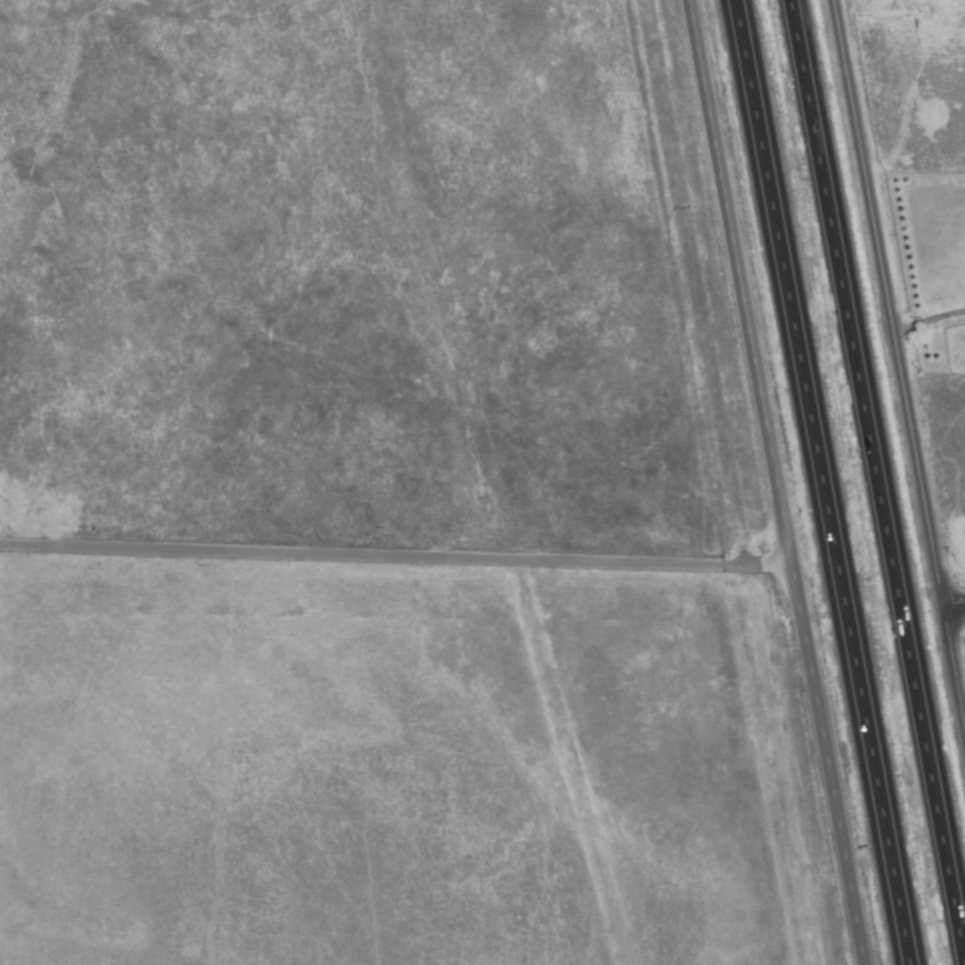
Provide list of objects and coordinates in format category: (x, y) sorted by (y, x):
road: (927, 324)
road: (898, 379)
railway: (729, 482)
road: (772, 482)
road: (819, 482)
road: (874, 482)
road: (392, 557)
road: (953, 607)

